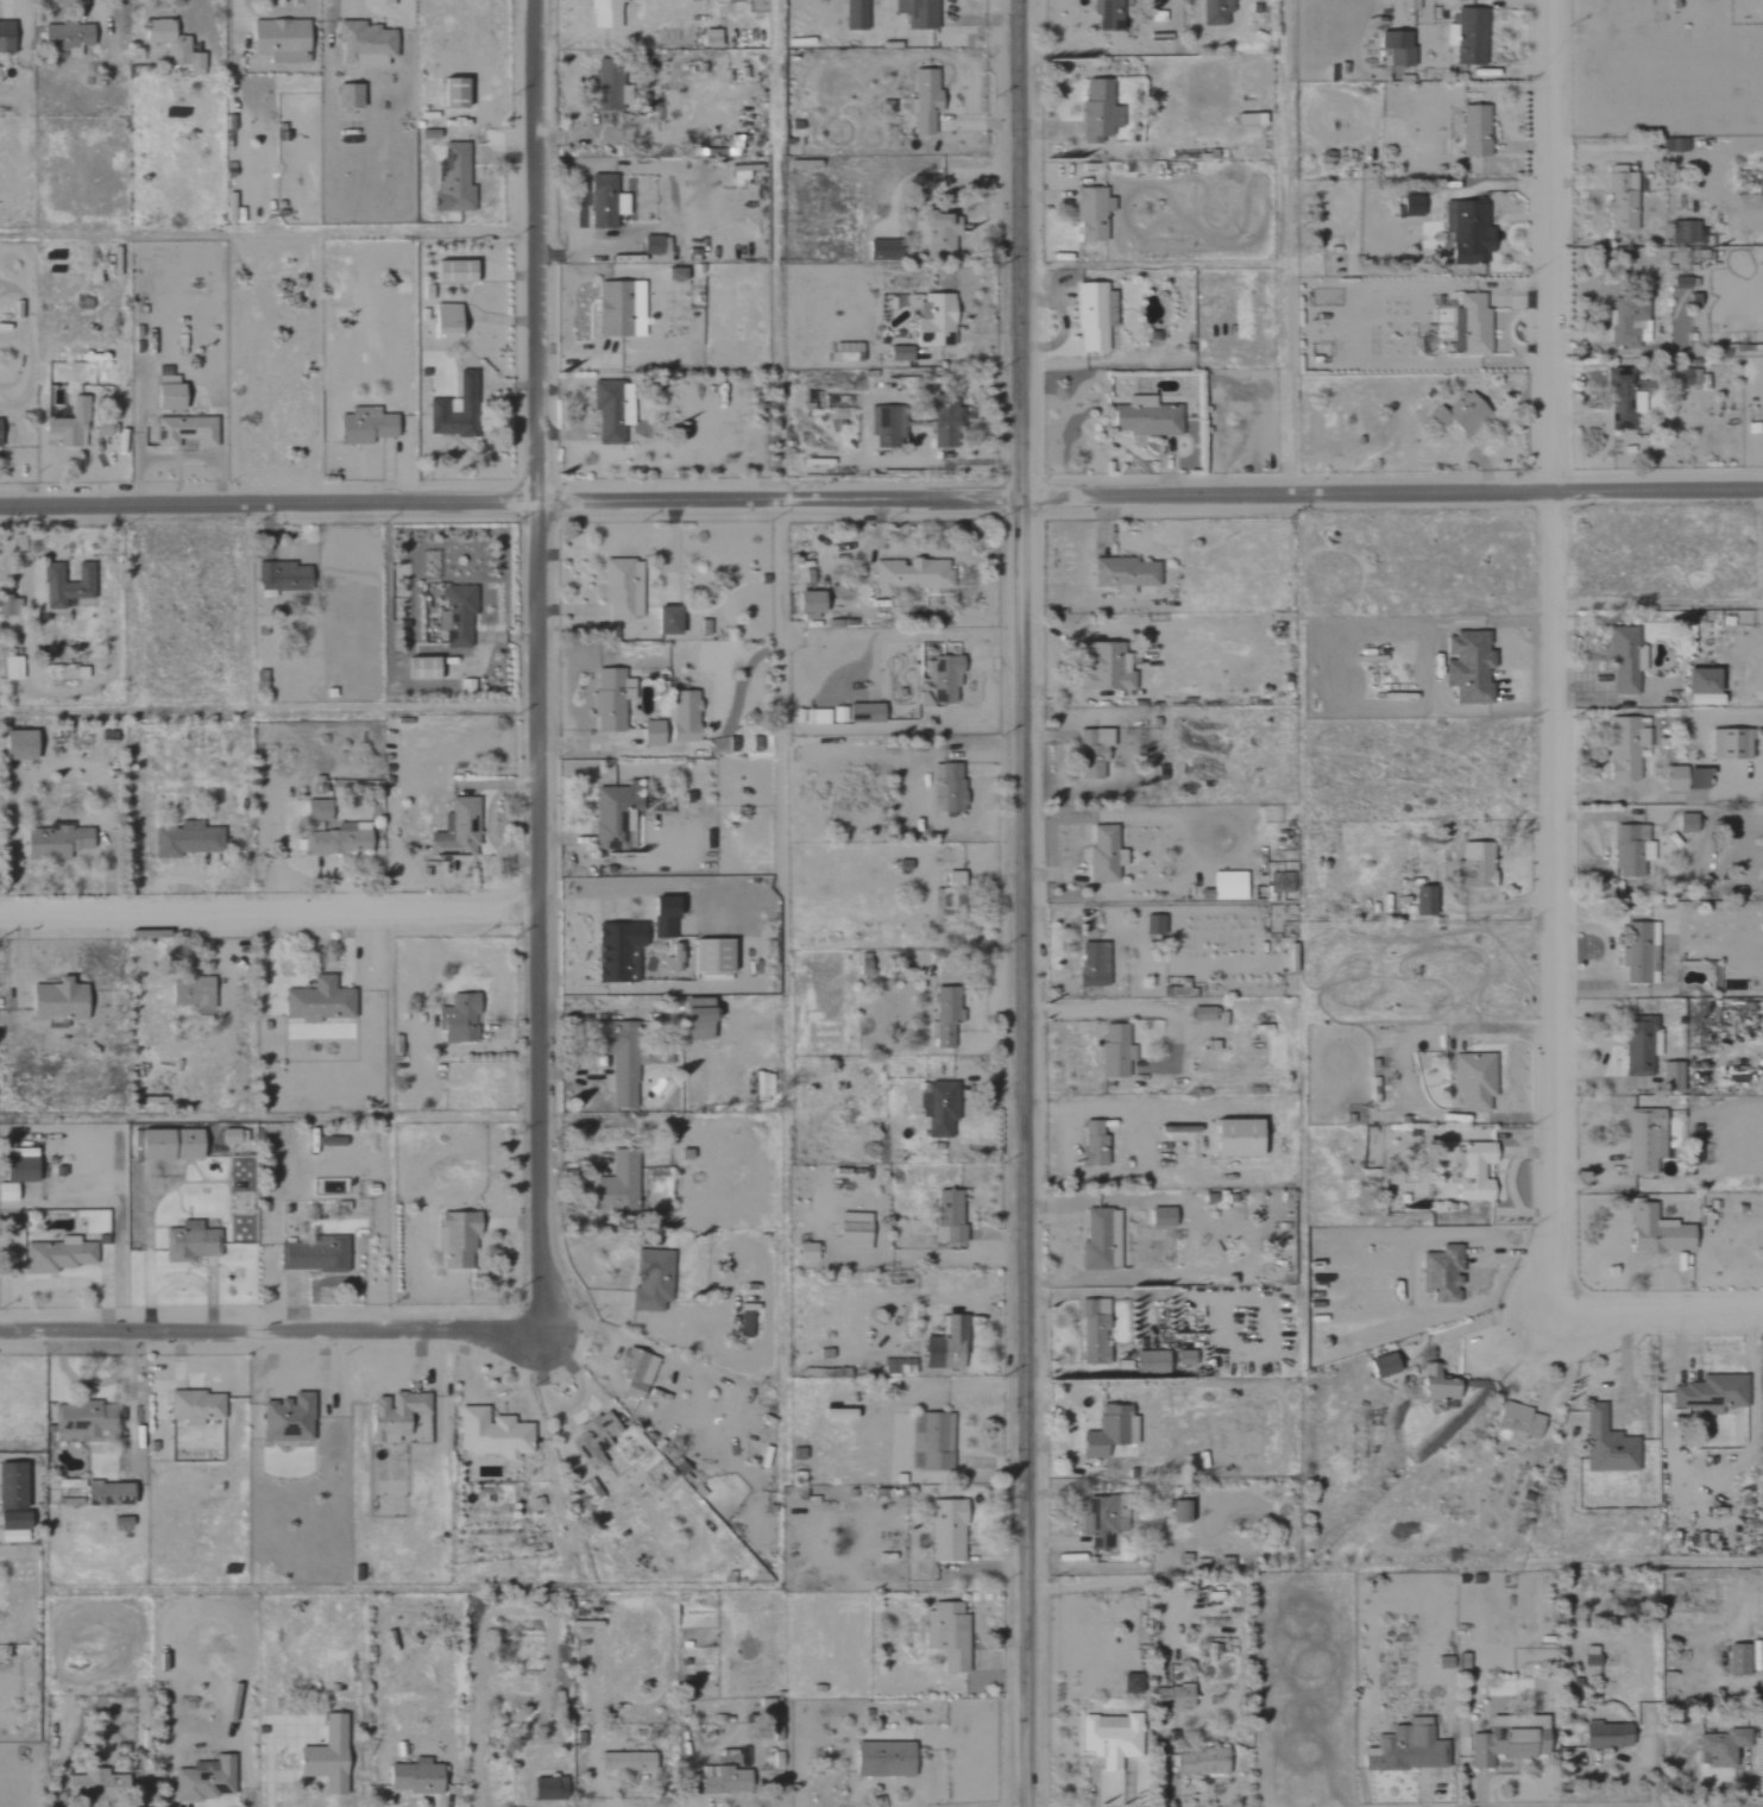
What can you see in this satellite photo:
building: (1213, 12)
building: (915, 13)
building: (602, 14)
building: (854, 14)
building: (1104, 14)
building: (61, 37)
building: (276, 37)
building: (1468, 37)
building: (5, 38)
building: (707, 38)
building: (361, 44)
building: (170, 45)
building: (1394, 49)
building: (607, 83)
building: (451, 93)
building: (347, 96)
building: (923, 101)
building: (1097, 111)
building: (1246, 120)
building: (1473, 131)
building: (731, 145)
building: (453, 178)
building: (1618, 199)
building: (602, 202)
building: (1408, 206)
building: (1089, 214)
building: (1465, 231)
building: (936, 233)
building: (1686, 233)
building: (648, 246)
building: (451, 272)
building: (672, 275)
building: (1677, 283)
building: (617, 310)
building: (1091, 316)
building: (443, 319)
building: (932, 321)
building: (1626, 322)
building: (1468, 326)
building: (843, 352)
building: (898, 354)
building: (1681, 377)
building: (164, 393)
building: (1620, 399)
building: (435, 407)
building: (1457, 415)
building: (1144, 418)
building: (67, 426)
building: (884, 427)
building: (99, 428)
building: (363, 428)
building: (943, 428)
building: (183, 432)
road: (881, 493)
building: (1121, 574)
building: (279, 577)
building: (907, 577)
building: (64, 586)
building: (619, 588)
building: (805, 603)
building: (455, 616)
building: (665, 622)
building: (703, 628)
road: (1551, 656)
building: (1622, 659)
road: (539, 663)
building: (1465, 666)
building: (8, 667)
building: (417, 669)
building: (1106, 670)
building: (63, 673)
building: (943, 680)
building: (1696, 680)
building: (609, 700)
building: (861, 714)
building: (681, 717)
building: (817, 717)
building: (648, 733)
building: (24, 744)
building: (1726, 744)
building: (1623, 747)
building: (1093, 753)
building: (1682, 779)
building: (950, 787)
building: (320, 810)
building: (617, 816)
building: (1683, 823)
building: (459, 830)
building: (189, 839)
building: (341, 839)
building: (58, 842)
building: (1626, 851)
building: (1107, 854)
building: (1474, 863)
building: (1282, 882)
building: (1232, 886)
building: (955, 899)
building: (1422, 900)
road: (1024, 902)
road: (272, 907)
building: (667, 915)
building: (1157, 925)
road: (584, 946)
building: (622, 951)
building: (1637, 952)
building: (717, 956)
building: (675, 958)
building: (1096, 964)
building: (195, 991)
building: (321, 1001)
building: (62, 1002)
building: (704, 1009)
building: (1204, 1013)
building: (949, 1014)
building: (1759, 1016)
building: (461, 1018)
building: (1117, 1050)
building: (1669, 1074)
building: (1471, 1079)
building: (627, 1083)
building: (942, 1108)
road: (1097, 1108)
building: (233, 1138)
building: (1241, 1138)
building: (1642, 1140)
building: (1096, 1144)
building: (175, 1145)
building: (25, 1170)
building: (1472, 1171)
building: (621, 1183)
building: (10, 1191)
building: (1165, 1216)
building: (951, 1217)
building: (857, 1230)
building: (1655, 1232)
building: (459, 1238)
building: (1103, 1240)
building: (193, 1241)
building: (810, 1252)
building: (315, 1254)
building: (59, 1255)
building: (1440, 1273)
building: (654, 1279)
road: (1657, 1311)
road: (1490, 1318)
building: (748, 1324)
road: (266, 1328)
building: (1097, 1333)
building: (950, 1346)
building: (1188, 1356)
building: (1154, 1361)
building: (901, 1366)
building: (1379, 1366)
road: (1622, 1371)
building: (638, 1372)
building: (1435, 1386)
building: (1708, 1394)
building: (197, 1406)
building: (840, 1414)
building: (397, 1415)
building: (291, 1418)
building: (1516, 1421)
building: (87, 1422)
building: (1113, 1430)
building: (495, 1434)
building: (597, 1438)
building: (936, 1441)
building: (1604, 1444)
building: (14, 1486)
building: (591, 1493)
building: (112, 1494)
building: (1184, 1511)
building: (1107, 1520)
building: (124, 1522)
building: (17, 1526)
building: (949, 1530)
building: (953, 1636)
building: (1587, 1658)
building: (1734, 1660)
building: (1134, 1683)
building: (1183, 1696)
building: (1604, 1736)
building: (1113, 1738)
building: (1409, 1746)
building: (1503, 1746)
building: (1721, 1746)
building: (330, 1757)
building: (888, 1759)
building: (630, 1762)
building: (1203, 1762)
building: (418, 1777)
building: (208, 1780)
building: (728, 1781)
building: (101, 1786)
building: (552, 1789)

